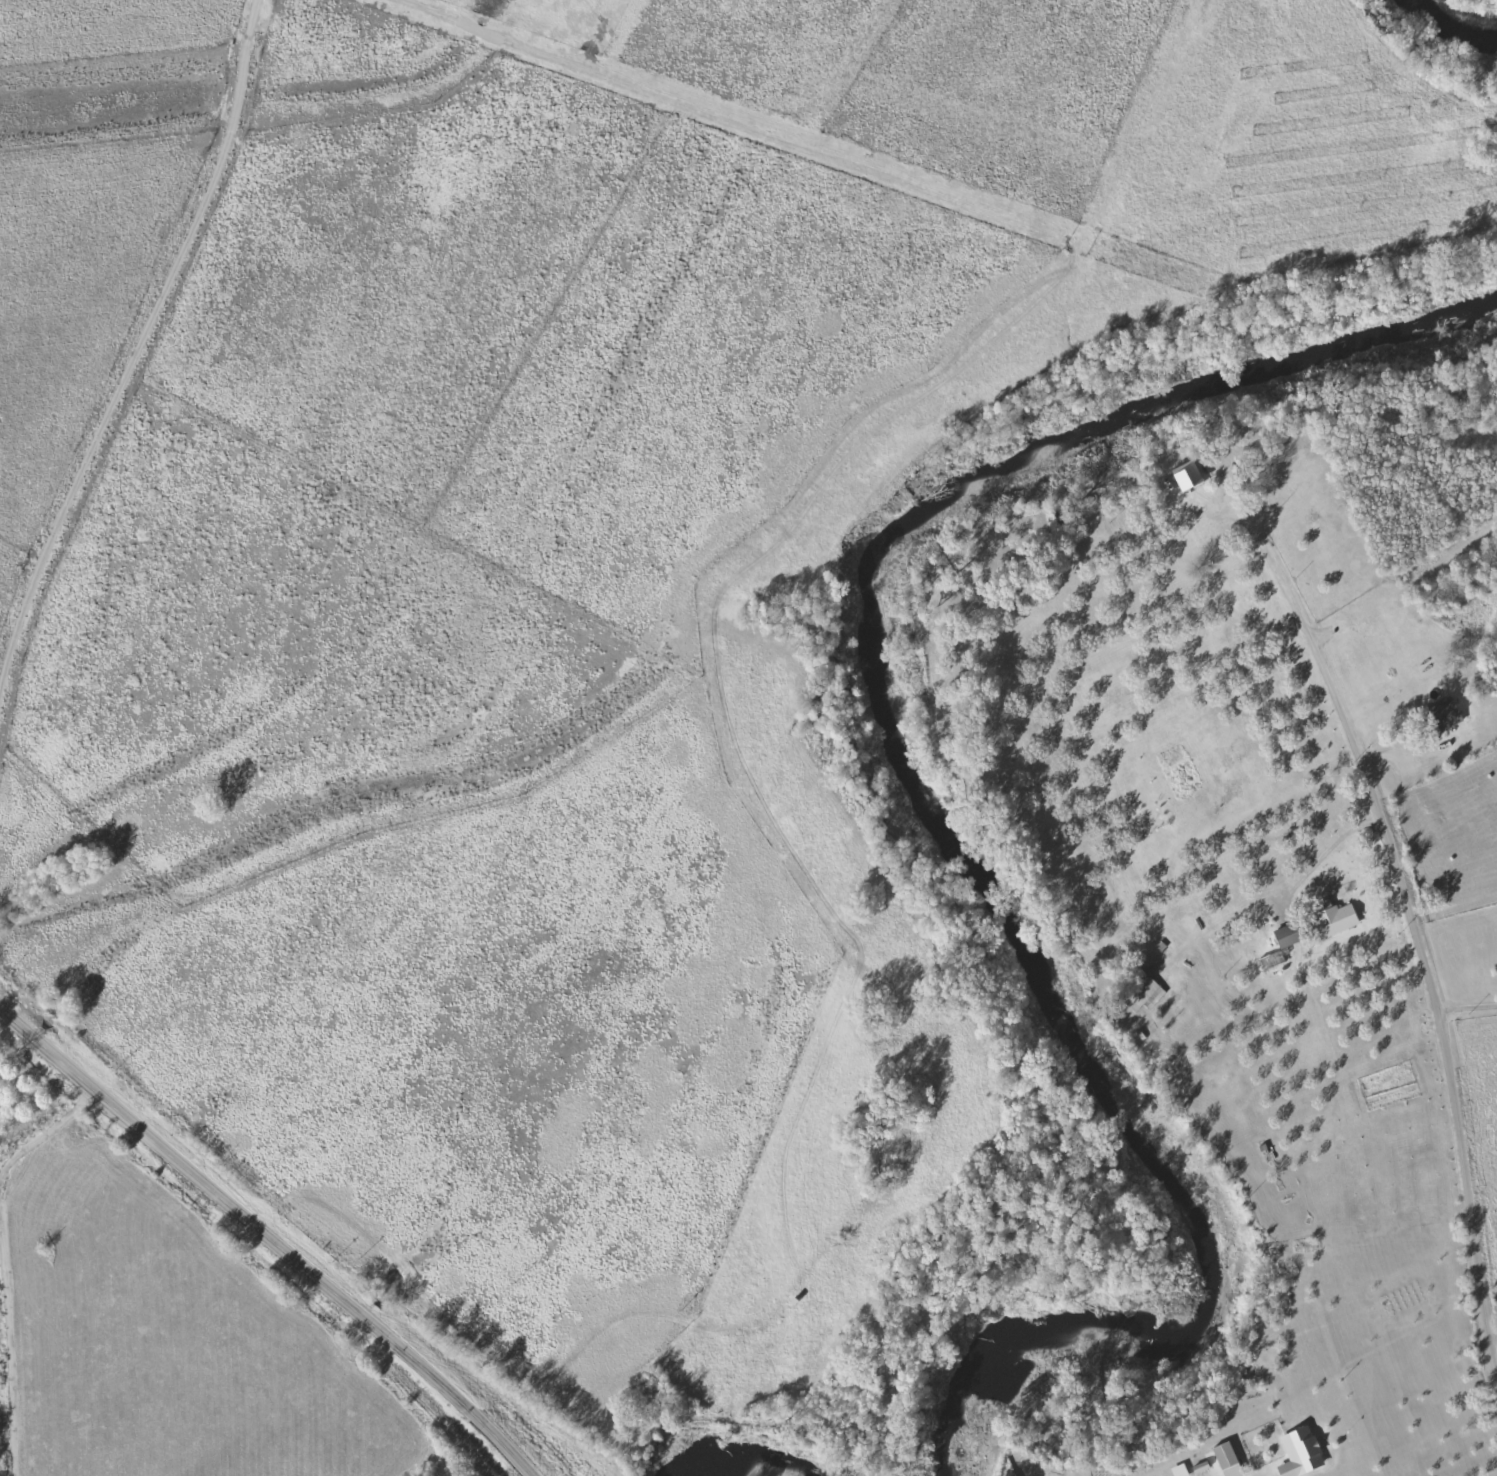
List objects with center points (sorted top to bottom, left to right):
river: (1450, 31)
road: (1162, 687)
building: (1442, 717)
river: (950, 826)
road: (1408, 912)
building: (1332, 920)
building: (1290, 936)
road: (1466, 1010)
road: (43, 1128)
road: (268, 1239)
road: (1493, 1347)
road: (7, 1360)
building: (1303, 1454)
building: (1229, 1460)
river: (747, 1466)

